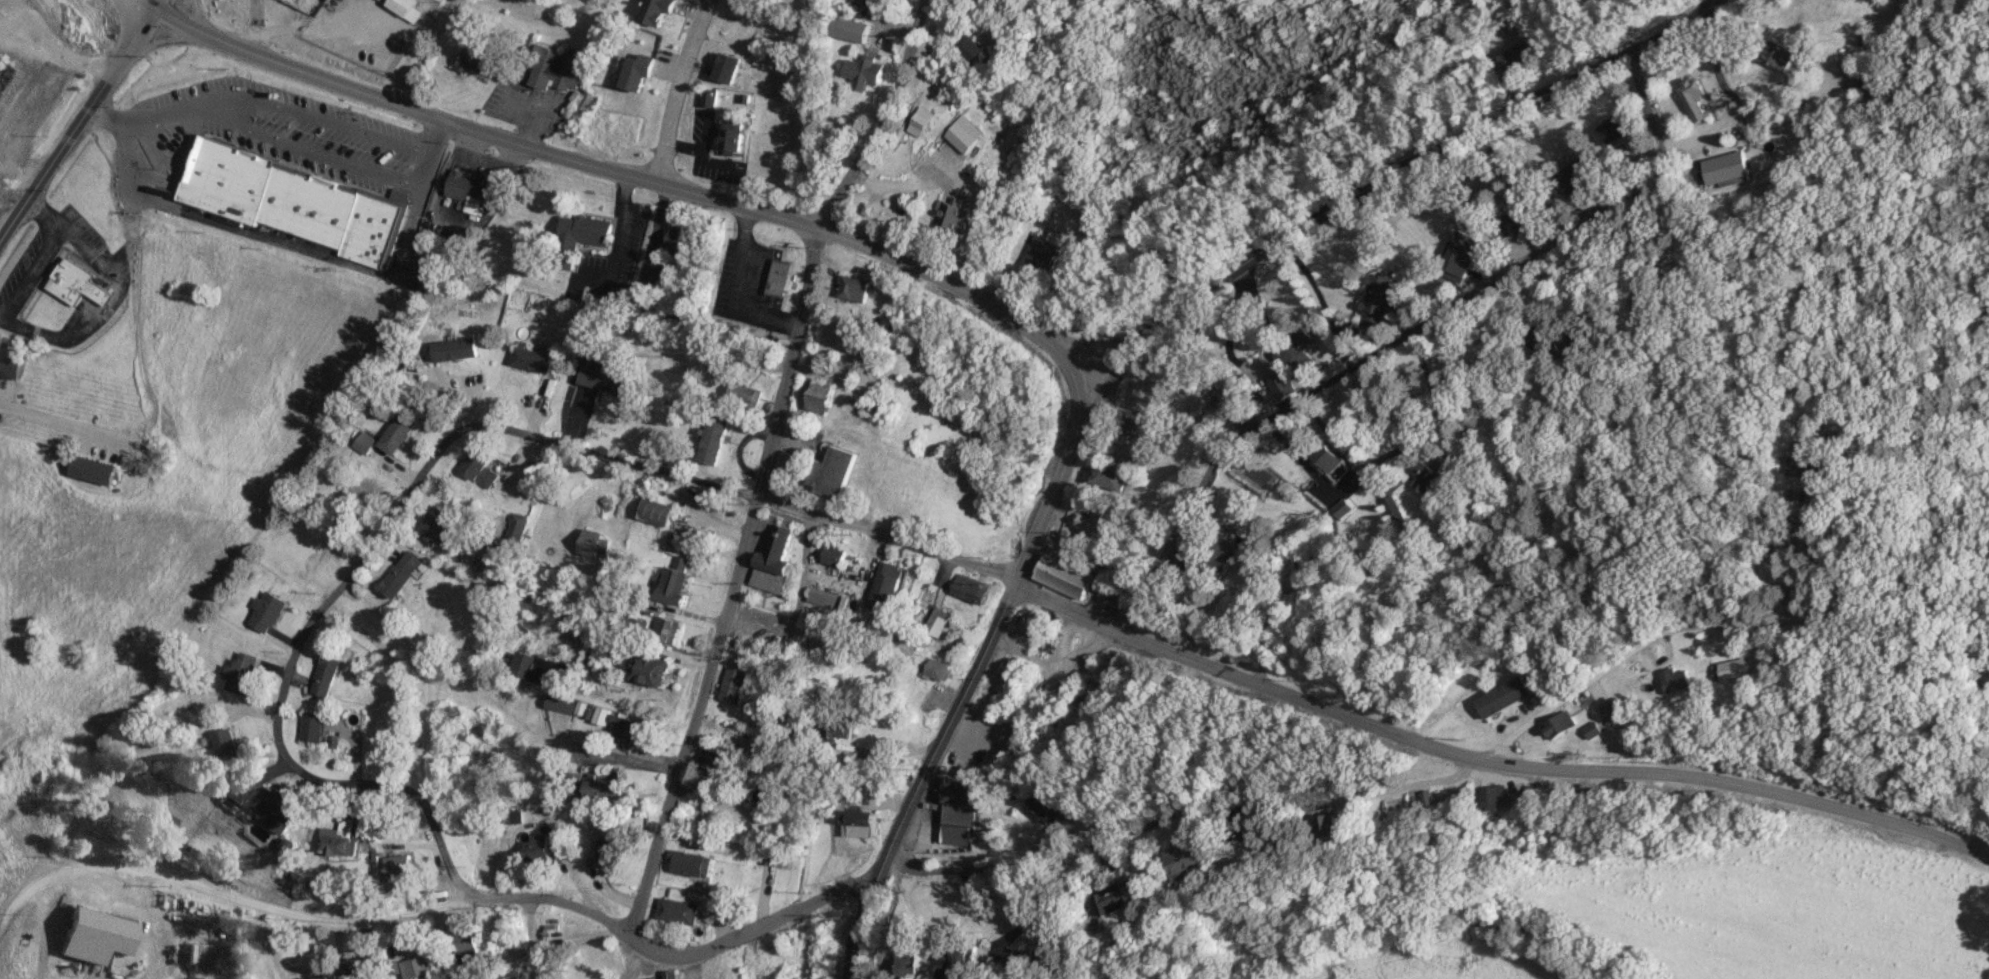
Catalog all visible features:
building: (522, 0)
road: (144, 4)
road: (152, 4)
building: (403, 8)
building: (653, 11)
building: (849, 29)
building: (1866, 38)
building: (971, 49)
road: (420, 51)
building: (1516, 54)
road: (53, 55)
building: (1774, 56)
building: (472, 60)
building: (723, 68)
building: (553, 70)
building: (863, 71)
building: (2, 74)
road: (675, 88)
building: (1864, 90)
building: (707, 98)
building: (1692, 98)
road: (1737, 98)
road: (152, 117)
road: (324, 118)
building: (919, 121)
road: (77, 123)
building: (1610, 129)
road: (1705, 132)
building: (964, 134)
road: (437, 136)
building: (729, 142)
road: (316, 153)
building: (1726, 167)
road: (424, 171)
road: (622, 172)
building: (1572, 172)
road: (1383, 176)
building: (467, 187)
building: (289, 201)
building: (952, 219)
building: (1504, 225)
road: (65, 231)
building: (577, 237)
road: (273, 238)
building: (672, 241)
road: (1143, 244)
building: (1039, 254)
building: (1456, 256)
building: (775, 278)
building: (69, 280)
building: (853, 288)
road: (735, 290)
building: (633, 302)
building: (1379, 305)
road: (1402, 332)
building: (1539, 343)
building: (454, 350)
building: (1347, 351)
building: (1295, 353)
building: (531, 360)
building: (11, 365)
building: (603, 379)
building: (1280, 384)
building: (742, 392)
building: (818, 396)
building: (1195, 405)
road: (60, 423)
building: (1123, 423)
building: (395, 434)
building: (710, 441)
building: (363, 443)
road: (795, 446)
road: (594, 452)
road: (1298, 457)
road: (766, 461)
building: (1329, 461)
building: (1801, 467)
building: (477, 469)
building: (92, 470)
building: (837, 475)
building: (1106, 476)
building: (1428, 479)
road: (1053, 480)
building: (1341, 507)
building: (1393, 508)
building: (654, 512)
building: (436, 524)
building: (1091, 524)
building: (513, 526)
road: (885, 539)
building: (589, 543)
building: (832, 555)
building: (1219, 558)
building: (770, 562)
building: (400, 573)
building: (1063, 574)
building: (887, 583)
building: (673, 585)
building: (483, 593)
building: (815, 598)
building: (1110, 599)
building: (266, 611)
building: (937, 625)
building: (653, 630)
road: (1668, 630)
road: (1262, 632)
road: (294, 651)
building: (647, 669)
building: (1737, 669)
building: (935, 670)
building: (241, 673)
building: (549, 673)
building: (326, 675)
building: (1678, 680)
building: (729, 685)
building: (1985, 692)
building: (1502, 697)
building: (561, 703)
building: (1611, 713)
building: (1561, 726)
building: (312, 727)
building: (842, 727)
building: (626, 729)
building: (1594, 731)
building: (220, 746)
road: (623, 757)
building: (712, 757)
road: (1490, 762)
road: (919, 777)
building: (604, 787)
road: (1409, 788)
building: (1498, 797)
building: (1043, 806)
building: (271, 808)
building: (957, 810)
building: (858, 824)
building: (161, 827)
building: (1337, 830)
building: (338, 839)
road: (437, 846)
building: (536, 848)
building: (615, 848)
road: (1062, 857)
building: (1191, 861)
building: (689, 864)
building: (398, 874)
building: (1125, 899)
building: (677, 912)
road: (306, 919)
road: (47, 926)
road: (151, 926)
road: (531, 926)
road: (753, 926)
building: (93, 936)
road: (583, 944)
road: (263, 945)
building: (601, 952)
building: (909, 964)
building: (963, 964)
building: (721, 966)
building: (356, 968)
building: (412, 968)
building: (665, 977)

